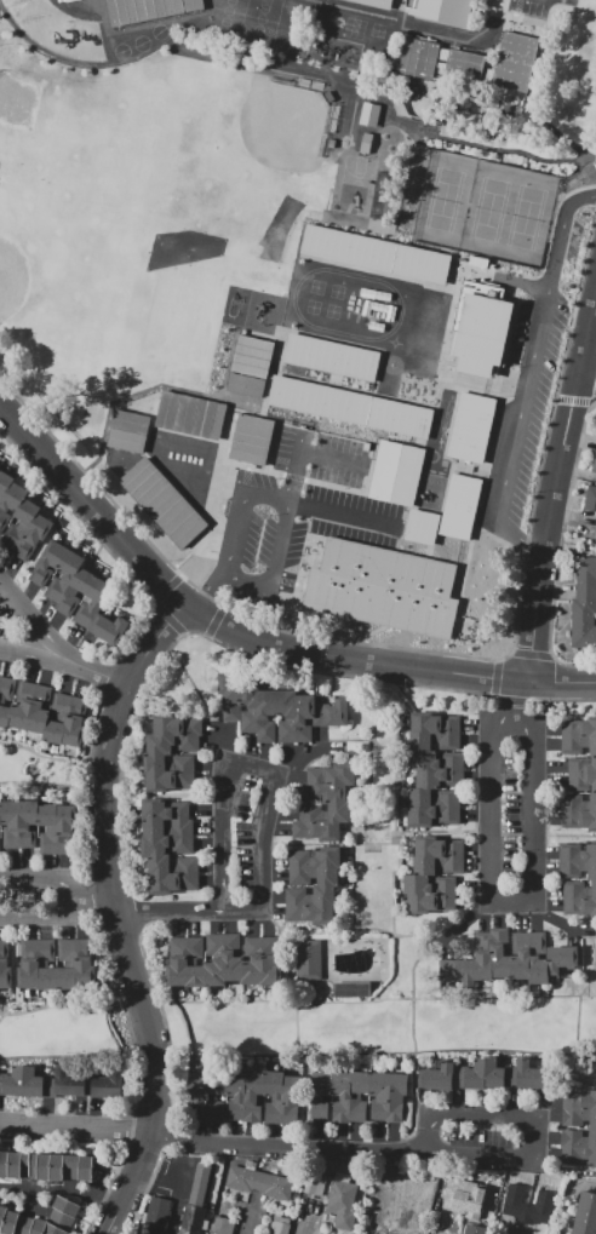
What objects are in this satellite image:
building: (378, 2)
parking lot: (529, 6)
building: (148, 10)
building: (441, 10)
park: (228, 18)
park: (260, 22)
road: (465, 38)
road: (44, 52)
building: (418, 58)
building: (515, 62)
building: (464, 67)
building: (328, 96)
building: (368, 114)
road: (567, 142)
building: (331, 143)
building: (366, 143)
road: (521, 155)
park: (356, 184)
park: (445, 200)
park: (487, 208)
park: (144, 218)
park: (529, 218)
building: (374, 256)
road: (527, 283)
park: (303, 286)
building: (481, 328)
building: (252, 356)
building: (331, 357)
road: (503, 360)
road: (529, 368)
road: (588, 377)
building: (246, 385)
parking lot: (529, 386)
road: (573, 401)
building: (350, 407)
building: (190, 415)
building: (471, 427)
building: (128, 431)
building: (251, 440)
road: (328, 457)
building: (594, 464)
road: (296, 466)
building: (396, 472)
building: (5, 483)
road: (556, 490)
road: (269, 494)
building: (590, 498)
building: (11, 503)
building: (164, 503)
building: (460, 506)
parking lot: (279, 510)
building: (21, 523)
building: (422, 527)
building: (33, 538)
road: (98, 539)
building: (595, 540)
road: (535, 547)
road: (558, 547)
building: (48, 562)
building: (65, 575)
building: (586, 581)
building: (384, 586)
road: (165, 589)
building: (75, 592)
building: (92, 602)
flagpole: (296, 605)
road: (166, 618)
road: (214, 620)
road: (222, 625)
building: (583, 625)
building: (109, 627)
road: (384, 635)
road: (432, 652)
road: (63, 653)
road: (532, 654)
road: (323, 673)
road: (102, 675)
road: (109, 676)
building: (0, 677)
road: (495, 678)
road: (562, 678)
road: (512, 696)
road: (516, 698)
road: (565, 698)
building: (6, 700)
road: (204, 702)
building: (22, 706)
building: (40, 708)
building: (277, 710)
building: (57, 718)
building: (74, 723)
road: (371, 734)
building: (50, 747)
building: (172, 752)
road: (42, 754)
road: (321, 756)
road: (36, 759)
road: (299, 762)
road: (120, 763)
road: (34, 765)
road: (371, 768)
building: (435, 770)
building: (580, 774)
road: (30, 779)
road: (42, 782)
road: (86, 786)
road: (396, 788)
building: (325, 802)
building: (0, 820)
building: (10, 822)
building: (28, 823)
building: (48, 828)
building: (67, 828)
road: (379, 843)
building: (167, 846)
building: (434, 874)
building: (578, 877)
road: (394, 882)
road: (109, 885)
building: (313, 885)
road: (353, 886)
road: (90, 895)
road: (69, 897)
road: (93, 897)
road: (512, 903)
road: (260, 909)
road: (170, 911)
road: (133, 912)
road: (118, 914)
road: (554, 917)
road: (466, 922)
road: (118, 925)
road: (362, 929)
building: (309, 959)
building: (223, 960)
building: (508, 960)
building: (29, 964)
building: (46, 964)
building: (67, 964)
building: (5, 965)
road: (18, 965)
building: (84, 966)
road: (147, 969)
building: (592, 976)
building: (258, 986)
building: (351, 989)
road: (380, 999)
road: (222, 1000)
road: (61, 1006)
road: (125, 1015)
road: (2, 1017)
road: (412, 1027)
road: (577, 1028)
road: (166, 1029)
road: (297, 1031)
road: (373, 1054)
road: (68, 1056)
building: (470, 1075)
building: (500, 1075)
building: (529, 1075)
building: (439, 1077)
building: (13, 1081)
building: (70, 1083)
building: (38, 1084)
building: (108, 1084)
road: (170, 1087)
building: (320, 1094)
building: (235, 1095)
building: (342, 1095)
building: (378, 1095)
building: (216, 1096)
building: (253, 1096)
building: (274, 1096)
building: (359, 1096)
building: (396, 1096)
building: (197, 1097)
building: (291, 1100)
road: (306, 1100)
building: (579, 1100)
road: (153, 1117)
building: (578, 1117)
road: (130, 1131)
road: (166, 1133)
building: (578, 1137)
road: (211, 1140)
road: (143, 1150)
building: (578, 1155)
road: (529, 1159)
building: (183, 1163)
building: (4, 1164)
building: (15, 1164)
building: (30, 1164)
building: (251, 1165)
building: (51, 1166)
building: (71, 1166)
building: (326, 1166)
building: (86, 1167)
building: (275, 1171)
building: (528, 1180)
building: (259, 1182)
building: (315, 1184)
road: (59, 1189)
road: (107, 1190)
road: (142, 1194)
building: (466, 1196)
building: (342, 1201)
building: (310, 1205)
building: (527, 1205)
building: (585, 1215)
building: (156, 1216)
building: (57, 1217)
road: (248, 1218)
building: (7, 1219)
building: (194, 1219)
road: (442, 1223)
building: (24, 1224)
building: (223, 1224)
building: (279, 1224)
road: (310, 1224)
building: (475, 1229)
building: (522, 1229)
building: (538, 1230)

